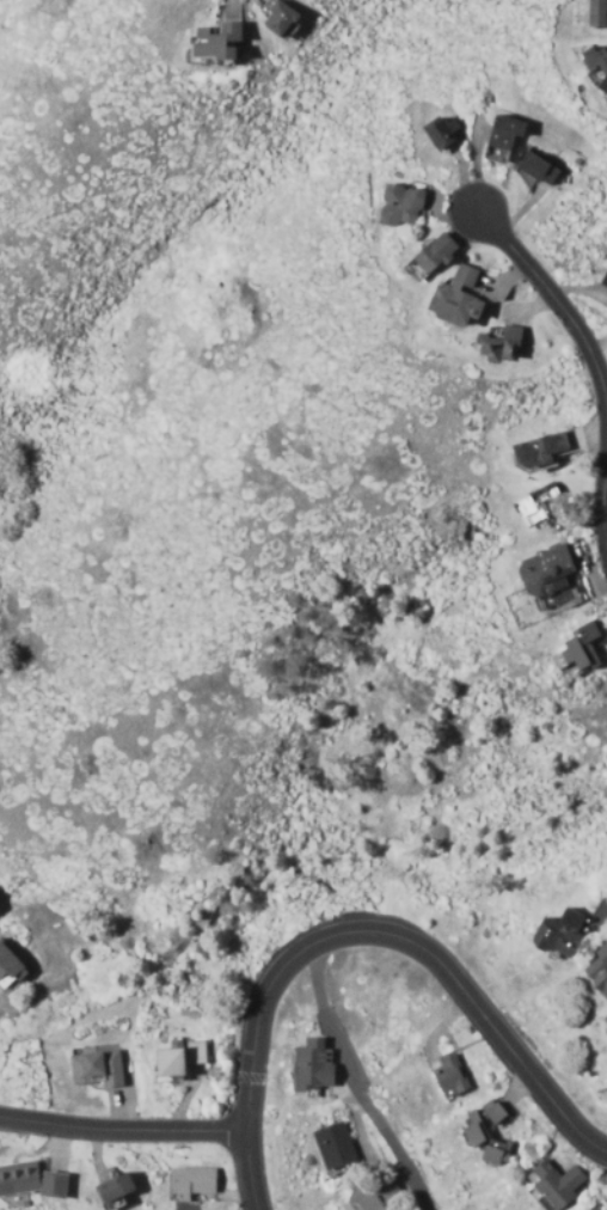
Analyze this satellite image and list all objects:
building: (600, 13)
building: (597, 65)
building: (503, 141)
building: (535, 167)
building: (399, 206)
building: (606, 285)
building: (455, 297)
road: (556, 304)
building: (498, 344)
road: (602, 501)
building: (546, 569)
building: (605, 687)
building: (0, 909)
building: (558, 933)
road: (362, 934)
building: (10, 966)
building: (599, 968)
building: (183, 1058)
building: (314, 1067)
building: (97, 1069)
building: (449, 1075)
road: (351, 1083)
building: (474, 1131)
road: (122, 1132)
building: (331, 1147)
building: (20, 1178)
building: (194, 1181)
building: (55, 1185)
building: (114, 1190)
building: (369, 1199)
building: (591, 1209)

